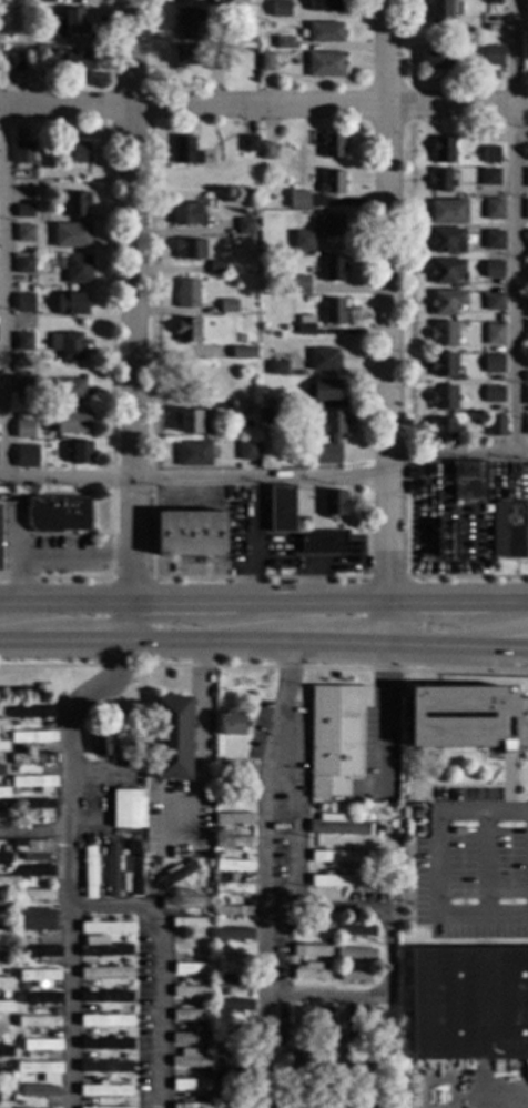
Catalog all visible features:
building: (40, 1)
building: (238, 1)
building: (493, 2)
building: (324, 6)
building: (526, 8)
building: (280, 9)
building: (439, 11)
building: (186, 22)
building: (67, 24)
building: (324, 33)
building: (252, 39)
building: (284, 42)
building: (493, 56)
building: (183, 58)
building: (65, 59)
building: (436, 59)
building: (299, 60)
building: (12, 61)
building: (214, 61)
building: (265, 62)
building: (325, 64)
road: (264, 107)
building: (248, 143)
building: (332, 145)
building: (527, 148)
building: (18, 150)
building: (265, 150)
building: (441, 150)
building: (73, 152)
building: (184, 152)
building: (489, 154)
building: (489, 177)
building: (527, 179)
building: (440, 180)
building: (332, 182)
building: (297, 200)
building: (77, 204)
building: (493, 209)
building: (526, 210)
building: (447, 211)
building: (23, 212)
building: (186, 214)
road: (515, 224)
building: (332, 225)
building: (244, 226)
building: (23, 233)
building: (70, 236)
building: (527, 239)
building: (493, 240)
building: (303, 241)
building: (447, 241)
building: (189, 250)
building: (23, 264)
building: (216, 268)
building: (74, 269)
building: (332, 269)
building: (493, 270)
building: (445, 271)
building: (526, 271)
building: (296, 285)
road: (2, 293)
building: (186, 294)
building: (525, 300)
road: (133, 302)
road: (389, 302)
building: (446, 302)
building: (493, 302)
building: (23, 303)
building: (69, 305)
building: (227, 305)
building: (332, 311)
building: (304, 325)
building: (186, 331)
building: (443, 334)
building: (494, 335)
building: (526, 335)
building: (22, 341)
building: (68, 345)
building: (242, 353)
building: (324, 360)
building: (493, 363)
building: (443, 365)
building: (277, 369)
building: (526, 376)
building: (22, 387)
building: (326, 390)
building: (68, 391)
building: (526, 393)
building: (493, 394)
building: (444, 397)
building: (270, 403)
building: (240, 409)
building: (261, 412)
building: (70, 422)
building: (193, 422)
building: (526, 425)
building: (496, 426)
building: (440, 429)
building: (23, 430)
building: (328, 437)
building: (246, 450)
road: (458, 451)
building: (78, 453)
building: (193, 453)
building: (18, 459)
road: (194, 480)
building: (467, 482)
building: (332, 503)
building: (281, 510)
building: (57, 514)
building: (305, 520)
building: (509, 528)
road: (16, 530)
building: (189, 534)
road: (245, 542)
building: (322, 542)
road: (55, 560)
road: (351, 560)
road: (311, 583)
road: (439, 603)
road: (509, 603)
road: (311, 604)
road: (22, 605)
road: (88, 605)
road: (183, 605)
road: (131, 623)
road: (388, 624)
road: (495, 636)
road: (9, 641)
road: (74, 641)
road: (200, 642)
road: (328, 643)
road: (427, 646)
road: (497, 649)
building: (85, 663)
road: (379, 709)
building: (1, 713)
building: (33, 713)
building: (466, 718)
building: (12, 723)
building: (229, 723)
building: (3, 724)
road: (200, 729)
building: (335, 735)
building: (2, 737)
building: (32, 737)
building: (171, 738)
building: (103, 744)
building: (3, 746)
building: (292, 752)
building: (32, 758)
building: (1, 762)
building: (13, 769)
building: (234, 770)
building: (0, 772)
building: (298, 774)
building: (33, 783)
building: (1, 784)
building: (13, 792)
building: (3, 794)
building: (233, 794)
building: (31, 804)
building: (2, 805)
building: (128, 809)
building: (14, 814)
building: (2, 817)
building: (233, 819)
building: (336, 826)
building: (374, 827)
road: (32, 830)
building: (233, 843)
building: (78, 846)
building: (373, 847)
building: (6, 848)
building: (32, 849)
building: (102, 852)
building: (122, 853)
building: (219, 854)
building: (335, 857)
building: (6, 859)
road: (65, 860)
road: (437, 863)
road: (483, 863)
building: (150, 865)
building: (233, 866)
parking lot: (473, 866)
building: (6, 870)
building: (32, 870)
building: (111, 872)
building: (132, 872)
building: (89, 873)
building: (374, 873)
road: (262, 874)
building: (174, 875)
building: (222, 877)
building: (356, 878)
building: (332, 880)
building: (18, 882)
building: (6, 883)
building: (233, 887)
building: (205, 892)
building: (7, 895)
building: (34, 895)
building: (183, 903)
building: (4, 904)
building: (21, 906)
building: (232, 910)
building: (126, 918)
building: (33, 919)
building: (190, 923)
building: (219, 923)
building: (312, 926)
building: (105, 927)
building: (354, 929)
building: (233, 934)
building: (6, 936)
building: (206, 936)
building: (124, 939)
building: (325, 941)
building: (338, 941)
building: (191, 945)
building: (226, 945)
building: (11, 948)
building: (102, 948)
building: (311, 951)
building: (38, 953)
building: (354, 954)
road: (388, 955)
building: (232, 957)
building: (7, 958)
building: (124, 961)
building: (22, 964)
building: (325, 965)
road: (160, 966)
building: (219, 968)
building: (192, 969)
building: (7, 971)
building: (308, 971)
building: (105, 973)
building: (335, 974)
building: (354, 976)
building: (39, 977)
building: (232, 980)
building: (206, 981)
building: (7, 984)
building: (24, 986)
building: (123, 987)
building: (190, 991)
building: (225, 993)
building: (3, 995)
building: (104, 997)
building: (40, 998)
building: (203, 1004)
building: (468, 1004)
building: (233, 1005)
building: (6, 1007)
building: (24, 1009)
building: (123, 1010)
building: (190, 1016)
building: (6, 1018)
building: (105, 1020)
building: (39, 1023)
building: (325, 1025)
building: (280, 1026)
building: (302, 1026)
building: (231, 1027)
building: (349, 1027)
building: (372, 1028)
building: (6, 1029)
building: (205, 1029)
building: (294, 1029)
building: (22, 1031)
building: (123, 1034)
building: (217, 1036)
building: (191, 1038)
building: (361, 1040)
building: (338, 1041)
building: (386, 1041)
building: (10, 1042)
building: (105, 1044)
building: (41, 1046)
building: (232, 1049)
building: (7, 1051)
building: (312, 1051)
building: (338, 1051)
building: (206, 1054)
building: (291, 1056)
building: (123, 1057)
building: (190, 1059)
building: (387, 1059)
building: (6, 1062)
building: (104, 1067)
building: (38, 1068)
building: (4, 1074)
building: (205, 1074)
building: (233, 1075)
building: (301, 1075)
building: (323, 1076)
building: (347, 1078)
building: (372, 1078)
building: (124, 1080)
building: (219, 1084)
building: (190, 1085)
building: (7, 1087)
building: (38, 1090)
building: (105, 1090)
building: (6, 1096)
building: (232, 1097)
road: (515, 1098)
building: (20, 1104)
building: (124, 1104)
building: (190, 1105)
building: (220, 1106)
building: (91, 1107)
building: (116, 1107)

